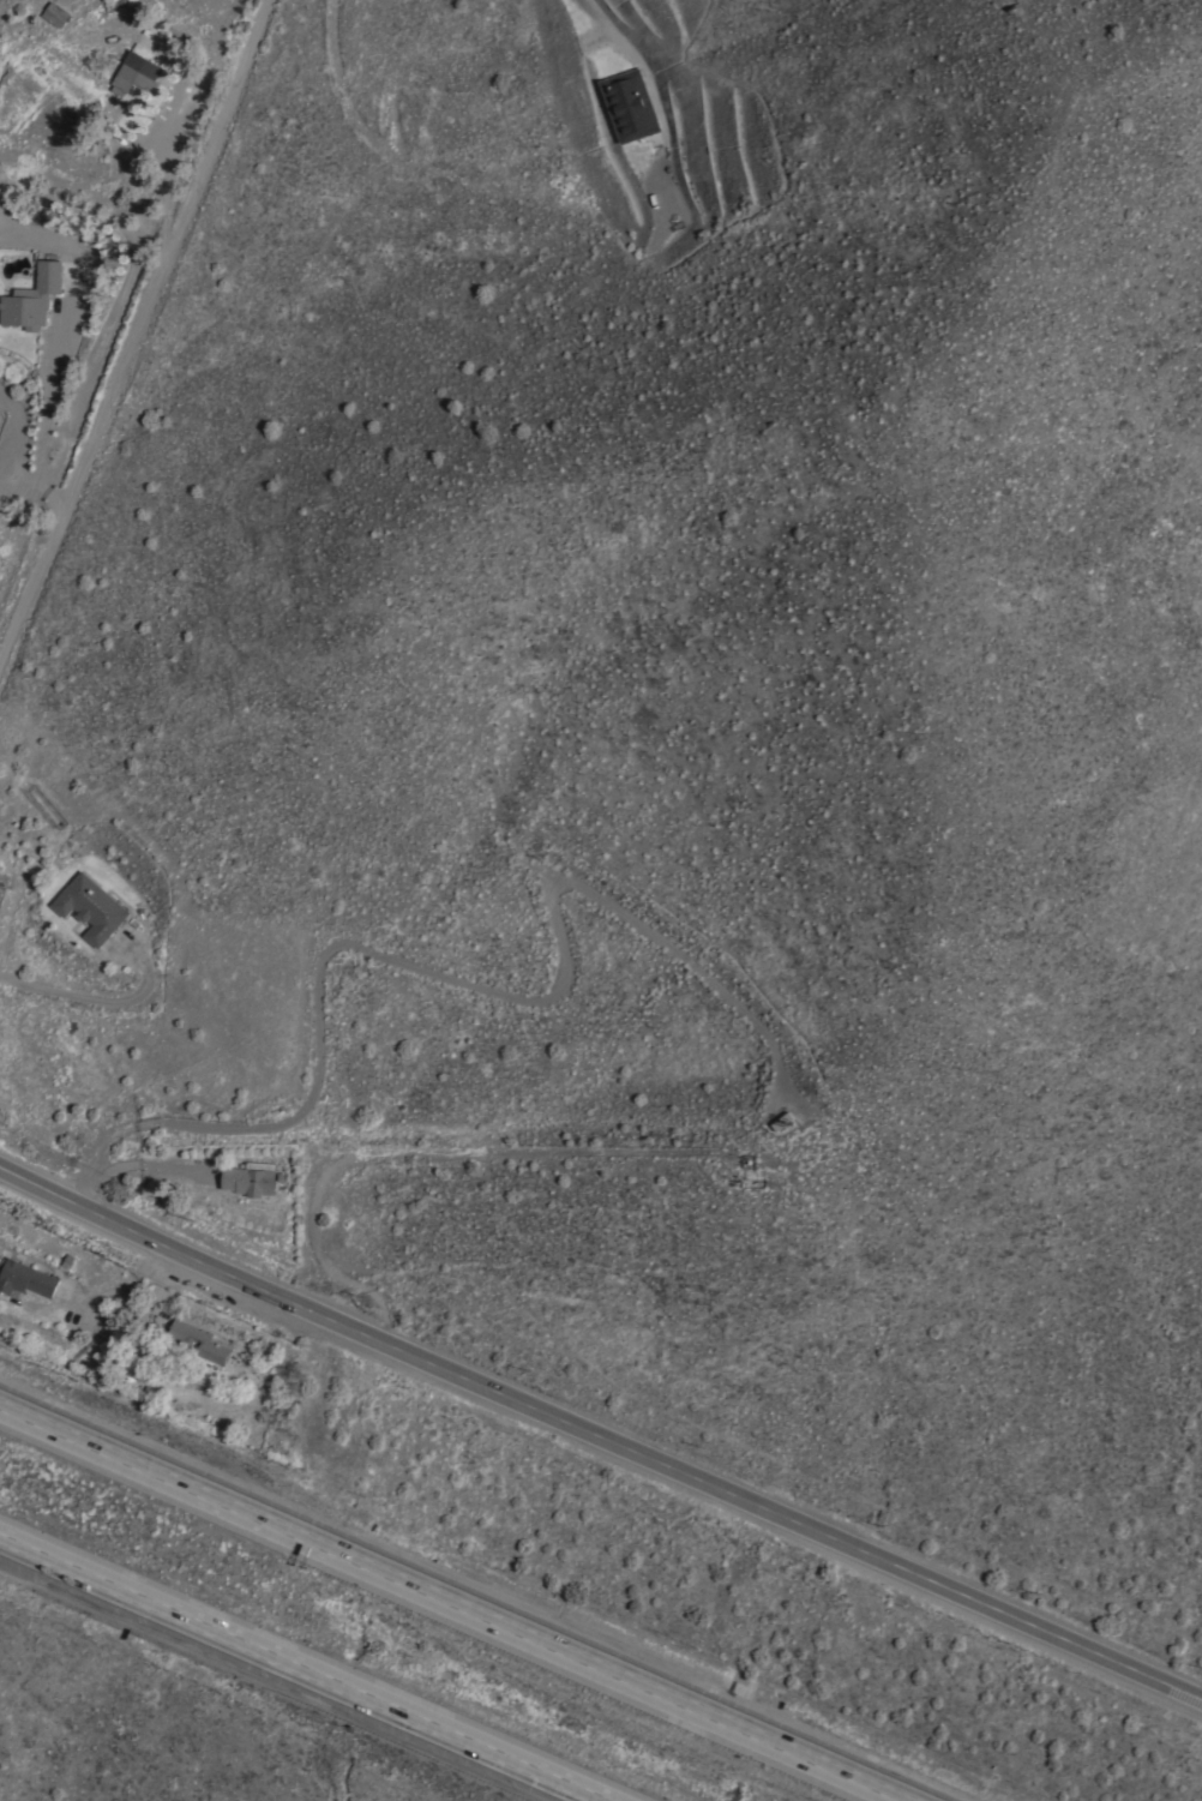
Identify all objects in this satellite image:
building: (54, 13)
road: (635, 61)
building: (134, 73)
building: (630, 104)
building: (32, 298)
road: (133, 337)
building: (91, 906)
road: (104, 1001)
building: (782, 1119)
building: (258, 1164)
building: (248, 1181)
building: (24, 1278)
building: (199, 1341)
road: (599, 1441)
road: (446, 1608)
road: (307, 1668)

